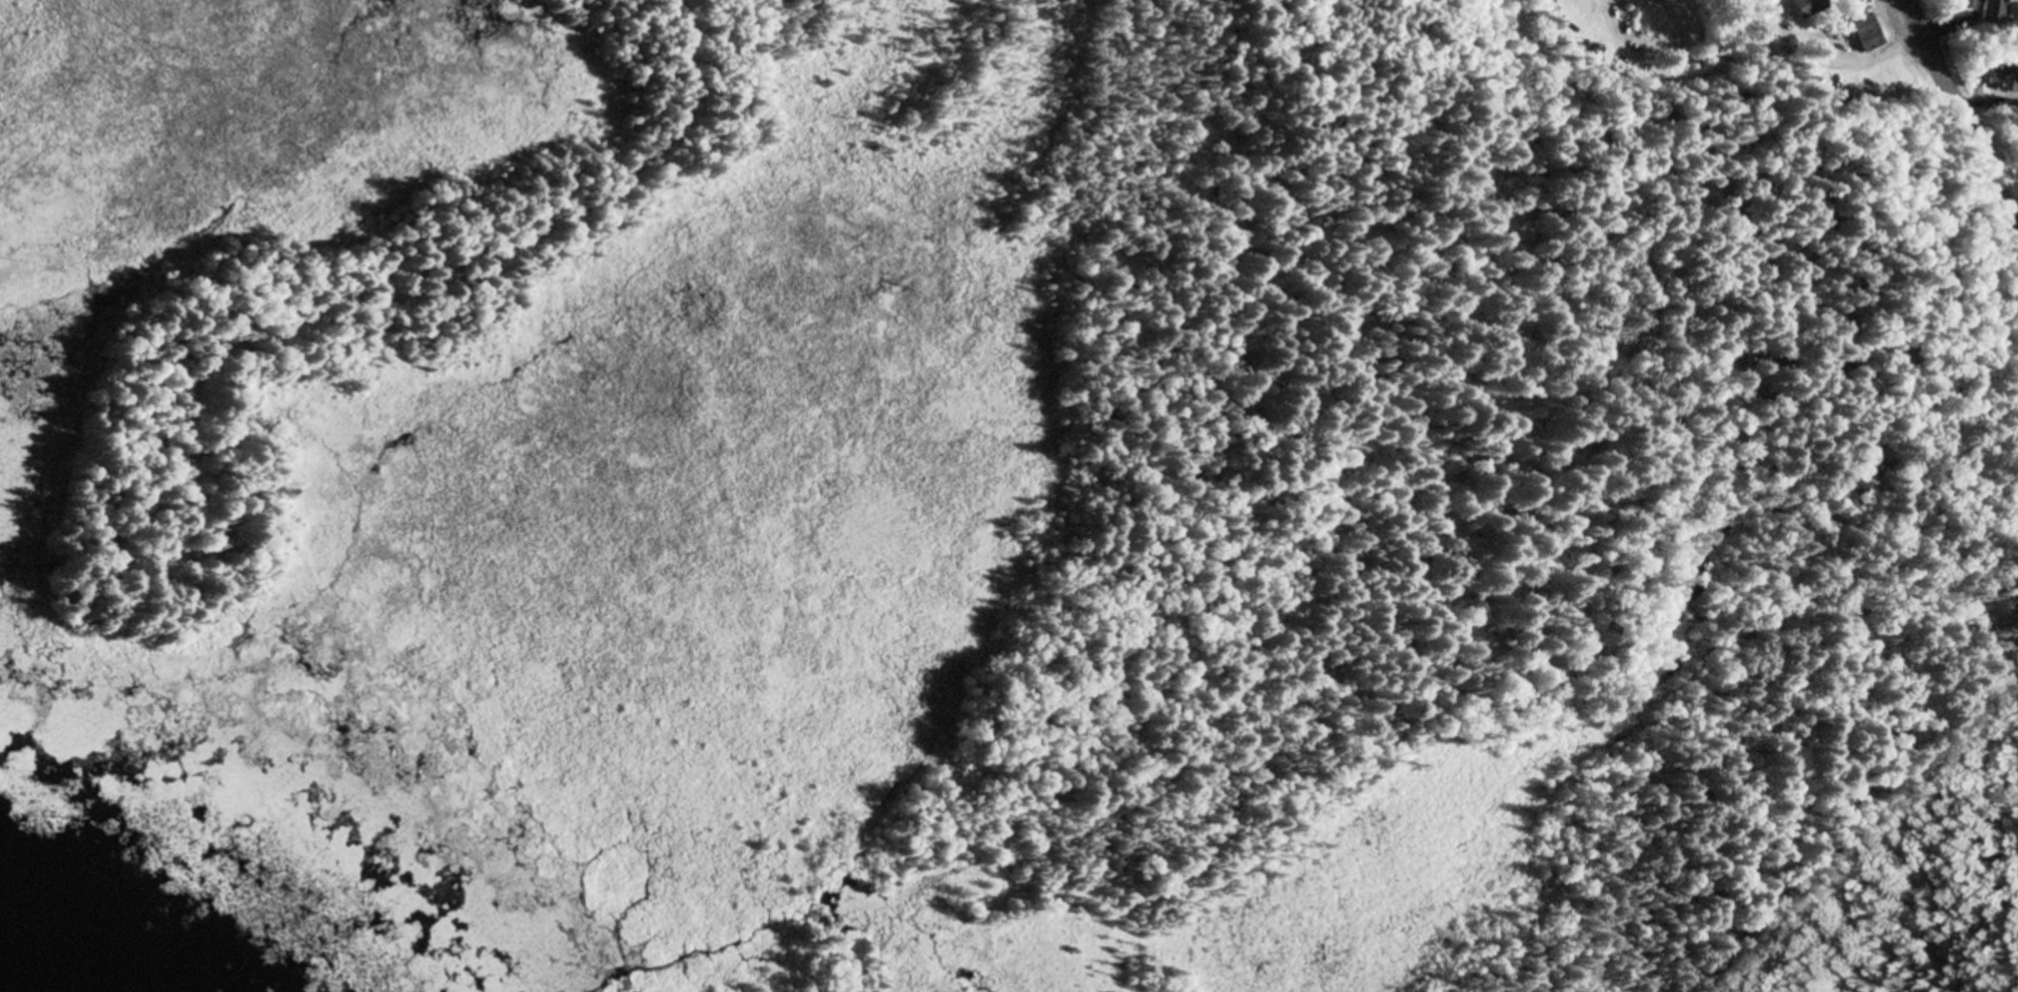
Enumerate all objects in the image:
building: (1805, 8)
building: (1991, 11)
building: (1863, 32)
building: (2004, 80)
road: (1964, 121)

